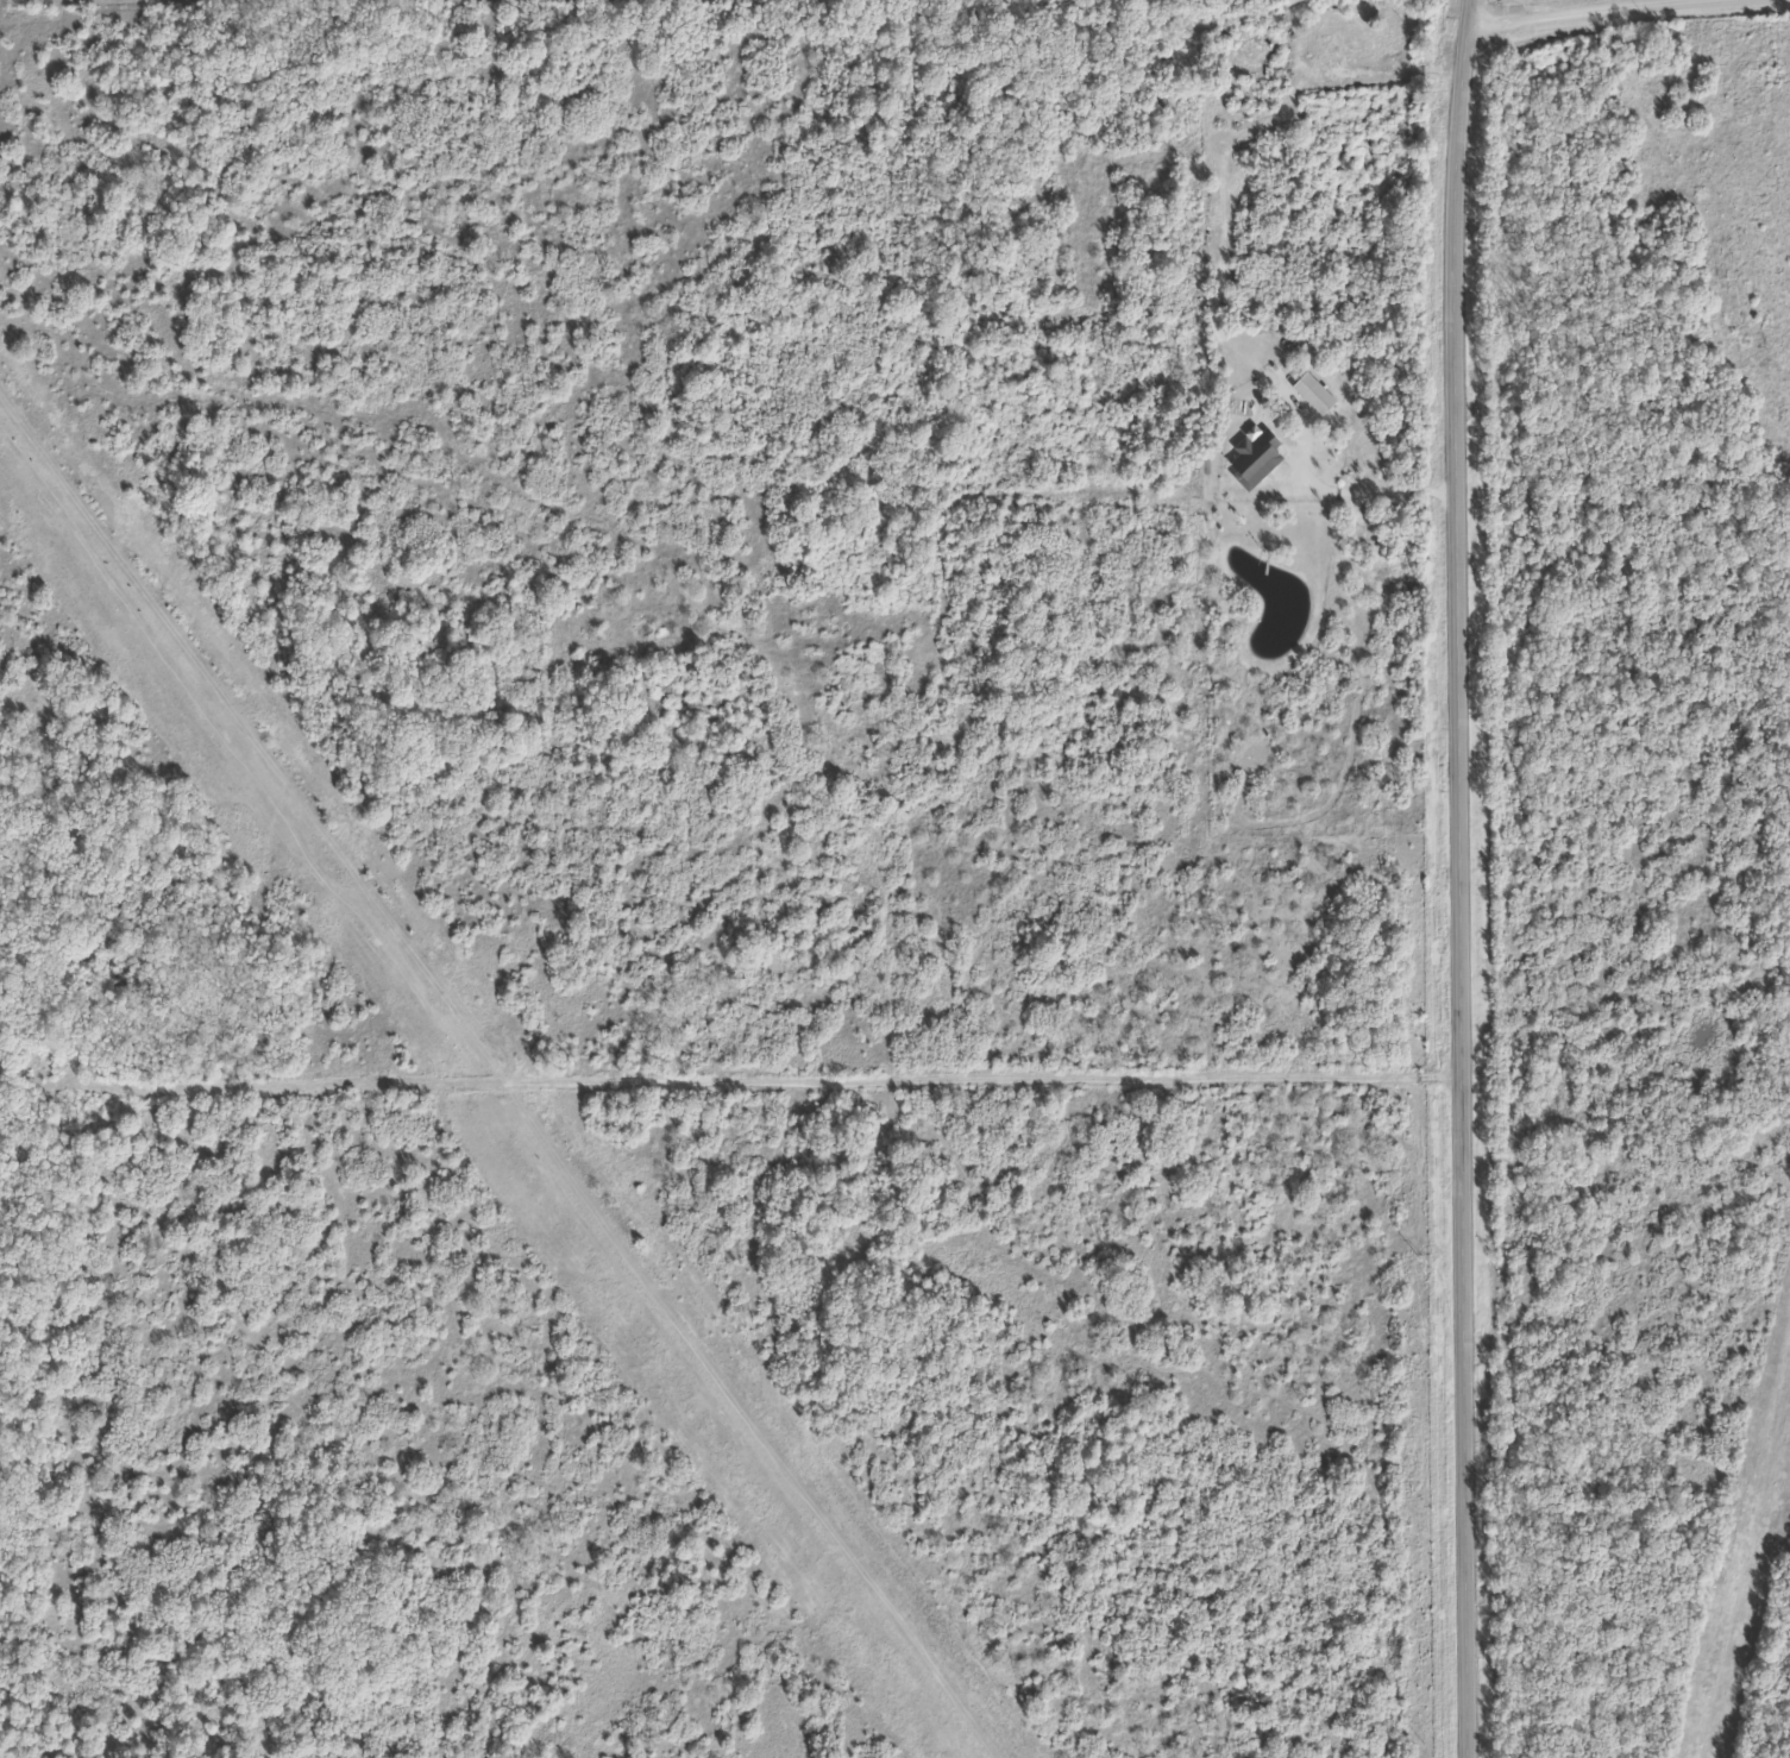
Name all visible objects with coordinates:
road: (1575, 18)
building: (1318, 394)
road: (1119, 484)
road: (1464, 878)
road: (802, 1079)

